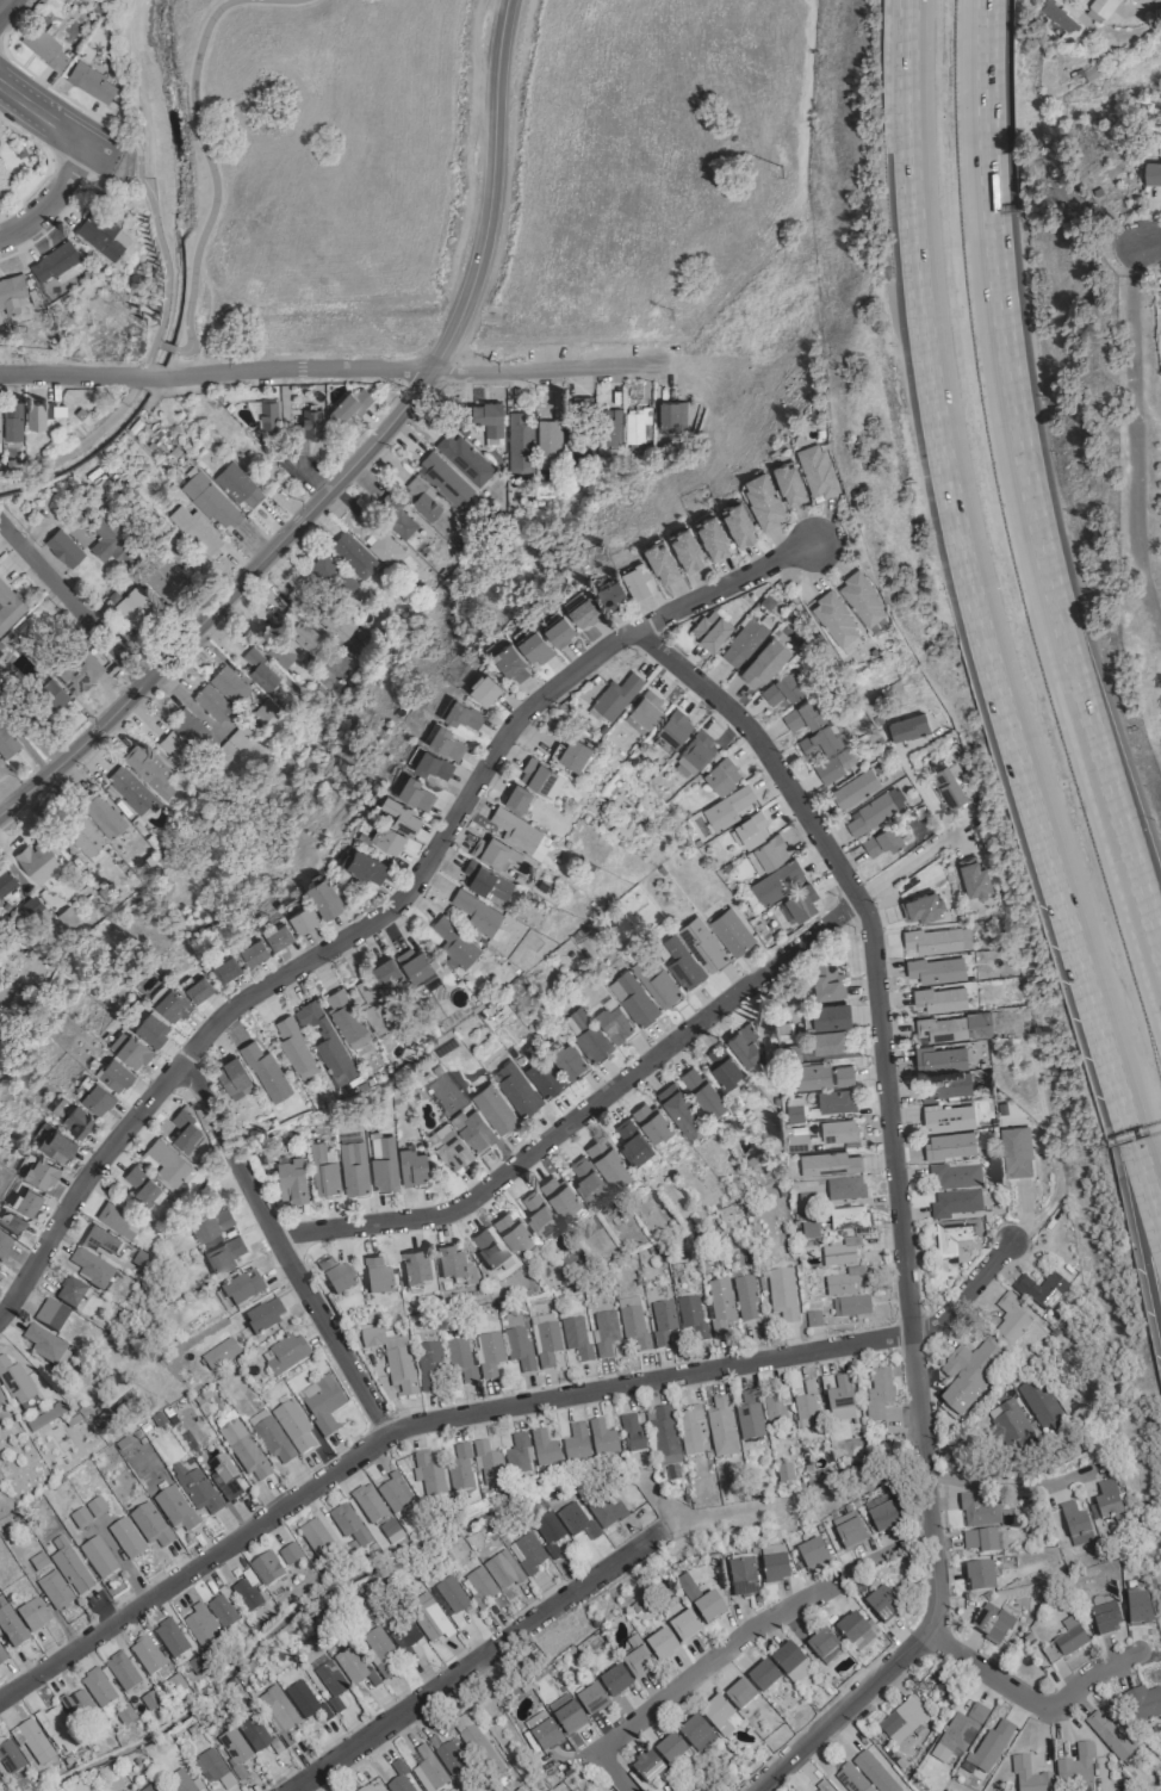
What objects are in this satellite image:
road: (1, 1)
building: (1101, 6)
building: (1060, 16)
road: (13, 20)
building: (46, 47)
building: (91, 82)
road: (63, 95)
road: (50, 120)
road: (45, 165)
building: (1151, 172)
park: (461, 178)
building: (4, 179)
road: (213, 184)
road: (490, 191)
road: (50, 198)
road: (61, 216)
building: (103, 233)
road: (1150, 237)
road: (160, 241)
building: (55, 262)
building: (12, 293)
road: (327, 367)
building: (352, 403)
building: (35, 415)
building: (268, 415)
building: (671, 417)
building: (12, 421)
building: (309, 427)
building: (637, 430)
building: (609, 433)
road: (1132, 436)
building: (548, 441)
building: (519, 442)
building: (582, 450)
building: (462, 459)
building: (815, 463)
building: (788, 476)
building: (443, 479)
building: (237, 484)
road: (1024, 489)
building: (762, 492)
building: (422, 500)
building: (211, 501)
building: (738, 519)
building: (401, 525)
building: (197, 529)
building: (712, 532)
building: (112, 541)
building: (685, 545)
building: (63, 549)
building: (385, 549)
road: (967, 554)
building: (353, 556)
building: (662, 558)
building: (333, 576)
building: (635, 577)
building: (167, 580)
building: (609, 590)
building: (861, 593)
road: (222, 599)
road: (72, 602)
building: (8, 606)
building: (135, 606)
building: (580, 607)
building: (833, 613)
building: (336, 622)
building: (558, 628)
building: (710, 628)
building: (304, 634)
building: (743, 642)
building: (534, 644)
building: (278, 650)
building: (510, 659)
building: (764, 662)
building: (259, 670)
building: (80, 673)
building: (228, 684)
building: (484, 687)
building: (781, 689)
building: (616, 695)
building: (48, 700)
building: (212, 704)
building: (461, 711)
building: (644, 711)
building: (803, 715)
building: (906, 726)
building: (188, 727)
building: (673, 727)
building: (446, 739)
building: (6, 743)
building: (234, 743)
building: (573, 752)
building: (695, 752)
building: (826, 752)
building: (0, 761)
building: (185, 761)
building: (433, 762)
building: (148, 769)
building: (721, 775)
building: (540, 776)
building: (946, 787)
building: (855, 788)
building: (132, 792)
building: (516, 797)
building: (728, 808)
building: (402, 813)
building: (873, 813)
building: (103, 816)
building: (750, 831)
building: (519, 832)
building: (386, 837)
building: (85, 838)
building: (881, 842)
building: (497, 854)
building: (766, 855)
building: (38, 861)
building: (365, 863)
building: (974, 878)
building: (6, 881)
building: (486, 881)
building: (775, 884)
building: (324, 895)
building: (797, 904)
road: (395, 906)
building: (921, 907)
building: (477, 912)
building: (300, 915)
building: (731, 930)
building: (277, 932)
building: (936, 941)
building: (454, 942)
building: (702, 944)
building: (253, 949)
building: (414, 962)
building: (225, 966)
building: (936, 969)
building: (385, 971)
building: (668, 972)
building: (826, 981)
building: (198, 987)
building: (633, 999)
building: (940, 999)
building: (170, 1004)
building: (374, 1004)
building: (830, 1015)
building: (346, 1016)
building: (613, 1023)
building: (151, 1028)
building: (954, 1028)
building: (327, 1041)
building: (830, 1042)
building: (744, 1043)
building: (294, 1047)
building: (129, 1048)
building: (940, 1059)
building: (569, 1060)
building: (721, 1065)
building: (265, 1072)
building: (113, 1073)
building: (541, 1073)
road: (629, 1076)
building: (822, 1077)
building: (232, 1078)
building: (945, 1086)
building: (516, 1089)
building: (703, 1091)
building: (97, 1097)
building: (836, 1101)
building: (493, 1108)
building: (678, 1108)
building: (76, 1118)
building: (949, 1118)
building: (650, 1120)
building: (473, 1130)
building: (838, 1130)
building: (185, 1132)
building: (632, 1141)
building: (56, 1144)
building: (949, 1145)
building: (449, 1147)
building: (1017, 1153)
road: (1142, 1155)
building: (383, 1160)
building: (607, 1160)
building: (167, 1161)
building: (830, 1165)
building: (354, 1166)
building: (412, 1167)
building: (41, 1170)
building: (323, 1170)
building: (952, 1177)
building: (586, 1179)
building: (291, 1180)
building: (142, 1185)
building: (844, 1189)
building: (558, 1194)
building: (25, 1197)
building: (806, 1201)
building: (954, 1203)
road: (896, 1204)
building: (539, 1211)
road: (1138, 1214)
building: (117, 1219)
building: (848, 1219)
building: (11, 1221)
building: (210, 1223)
building: (511, 1229)
building: (808, 1231)
building: (956, 1238)
building: (101, 1240)
building: (4, 1247)
road: (280, 1247)
building: (488, 1250)
building: (840, 1253)
building: (222, 1254)
building: (454, 1266)
building: (415, 1268)
building: (89, 1269)
building: (335, 1276)
building: (377, 1277)
building: (843, 1282)
building: (242, 1288)
building: (1039, 1290)
building: (70, 1294)
building: (781, 1294)
building: (745, 1297)
building: (719, 1306)
building: (850, 1306)
building: (50, 1315)
building: (262, 1316)
building: (690, 1316)
building: (813, 1319)
building: (1010, 1320)
building: (632, 1321)
building: (662, 1321)
building: (590, 1337)
building: (544, 1340)
building: (41, 1344)
building: (517, 1347)
building: (489, 1353)
building: (219, 1355)
building: (284, 1355)
building: (391, 1358)
building: (459, 1358)
building: (429, 1367)
building: (968, 1374)
building: (14, 1383)
building: (877, 1393)
building: (839, 1399)
building: (0, 1402)
building: (321, 1403)
building: (1039, 1403)
building: (805, 1407)
road: (486, 1409)
building: (772, 1409)
building: (749, 1417)
building: (292, 1426)
building: (720, 1427)
building: (1013, 1429)
building: (690, 1431)
building: (631, 1434)
building: (663, 1434)
building: (269, 1436)
building: (601, 1438)
building: (575, 1443)
building: (242, 1449)
building: (544, 1449)
building: (516, 1456)
building: (488, 1463)
building: (459, 1468)
building: (783, 1473)
building: (427, 1474)
building: (222, 1476)
road: (1001, 1487)
building: (195, 1489)
building: (393, 1493)
building: (1106, 1499)
building: (173, 1507)
building: (603, 1508)
building: (977, 1511)
building: (377, 1513)
building: (880, 1516)
building: (79, 1517)
building: (575, 1520)
building: (1074, 1524)
building: (149, 1525)
building: (348, 1526)
building: (547, 1532)
building: (848, 1532)
building: (125, 1538)
building: (316, 1539)
building: (979, 1541)
building: (809, 1551)
building: (288, 1554)
building: (526, 1554)
building: (97, 1557)
building: (37, 1561)
building: (772, 1564)
building: (69, 1567)
road: (855, 1567)
building: (266, 1568)
building: (502, 1570)
building: (741, 1576)
building: (979, 1576)
building: (479, 1587)
building: (54, 1589)
building: (244, 1592)
building: (451, 1594)
building: (700, 1601)
building: (881, 1604)
building: (221, 1610)
building: (1137, 1612)
building: (32, 1615)
building: (428, 1618)
building: (1105, 1622)
building: (199, 1623)
building: (993, 1623)
building: (11, 1628)
building: (683, 1628)
building: (850, 1629)
building: (403, 1635)
building: (169, 1638)
building: (1063, 1644)
building: (660, 1646)
building: (822, 1647)
building: (378, 1649)
building: (145, 1655)
building: (1, 1659)
building: (637, 1660)
building: (788, 1661)
road: (466, 1663)
building: (353, 1668)
building: (120, 1672)
building: (762, 1677)
building: (329, 1680)
building: (614, 1681)
road: (678, 1682)
building: (97, 1687)
building: (739, 1694)
road: (1020, 1694)
building: (591, 1700)
building: (305, 1702)
building: (1143, 1704)
building: (77, 1706)
building: (278, 1709)
building: (565, 1715)
building: (719, 1716)
building: (901, 1719)
building: (57, 1729)
building: (961, 1730)
building: (252, 1733)
building: (694, 1733)
building: (545, 1736)
building: (1109, 1736)
building: (33, 1741)
building: (477, 1744)
building: (529, 1744)
building: (669, 1748)
building: (988, 1748)
building: (232, 1752)
building: (8, 1755)
building: (448, 1755)
building: (1075, 1767)
building: (215, 1770)
building: (648, 1770)
building: (427, 1771)
building: (873, 1772)
building: (1027, 1777)
building: (398, 1778)
building: (850, 1779)
building: (0, 1780)
building: (181, 1781)
building: (821, 1786)
building: (360, 1789)
building: (123, 1790)

